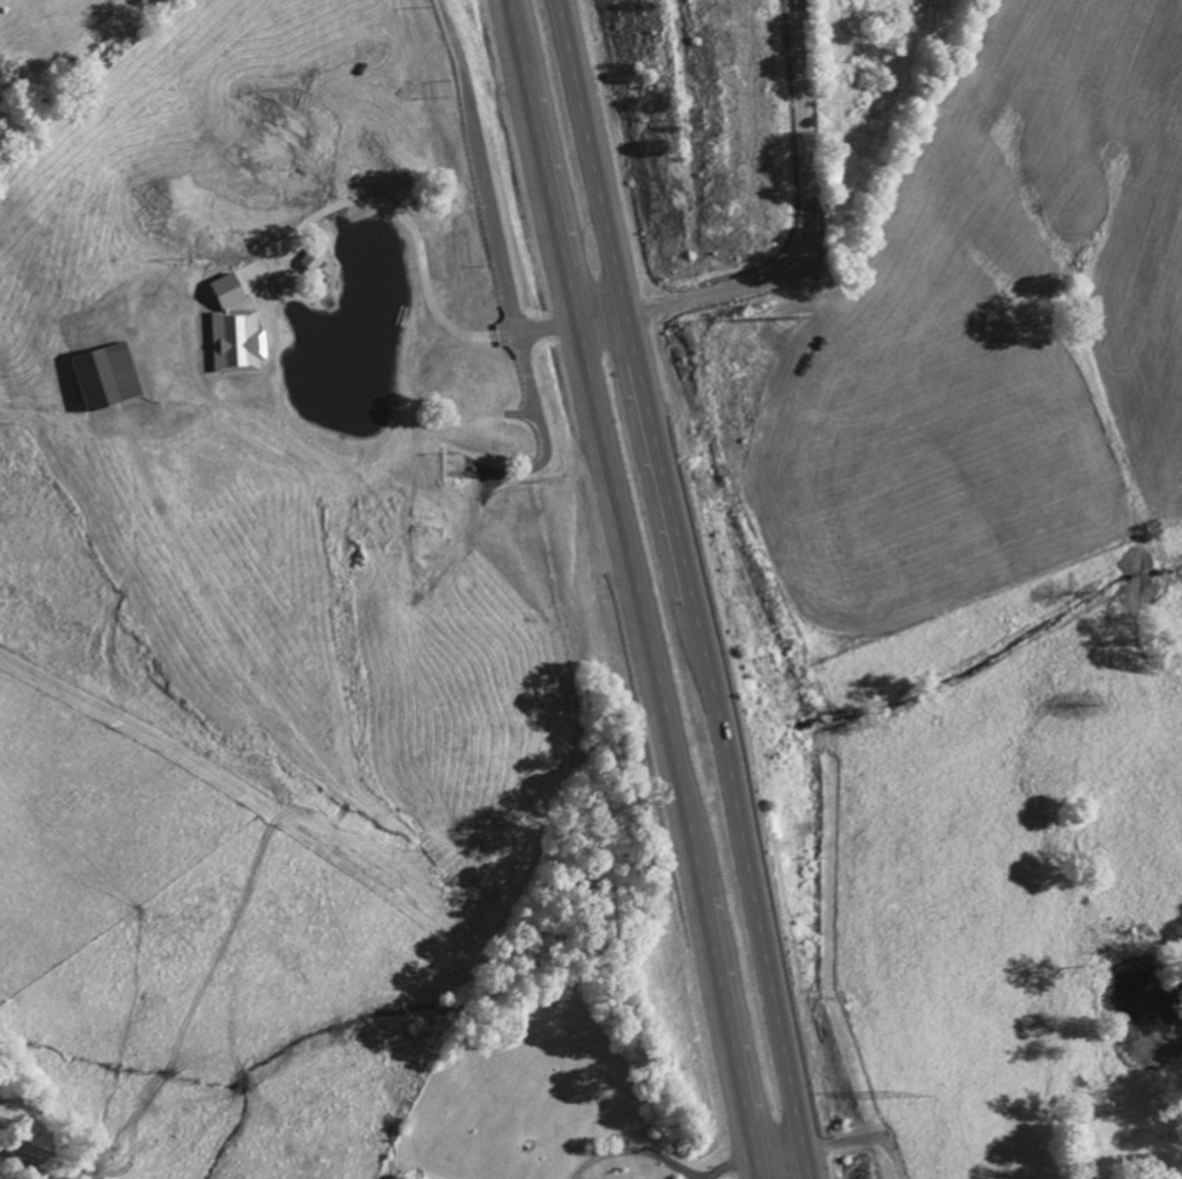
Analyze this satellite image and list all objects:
building: (316, 258)
building: (232, 288)
road: (712, 288)
building: (241, 339)
building: (458, 465)
building: (434, 528)
road: (634, 589)
road: (685, 589)
road: (780, 1147)

